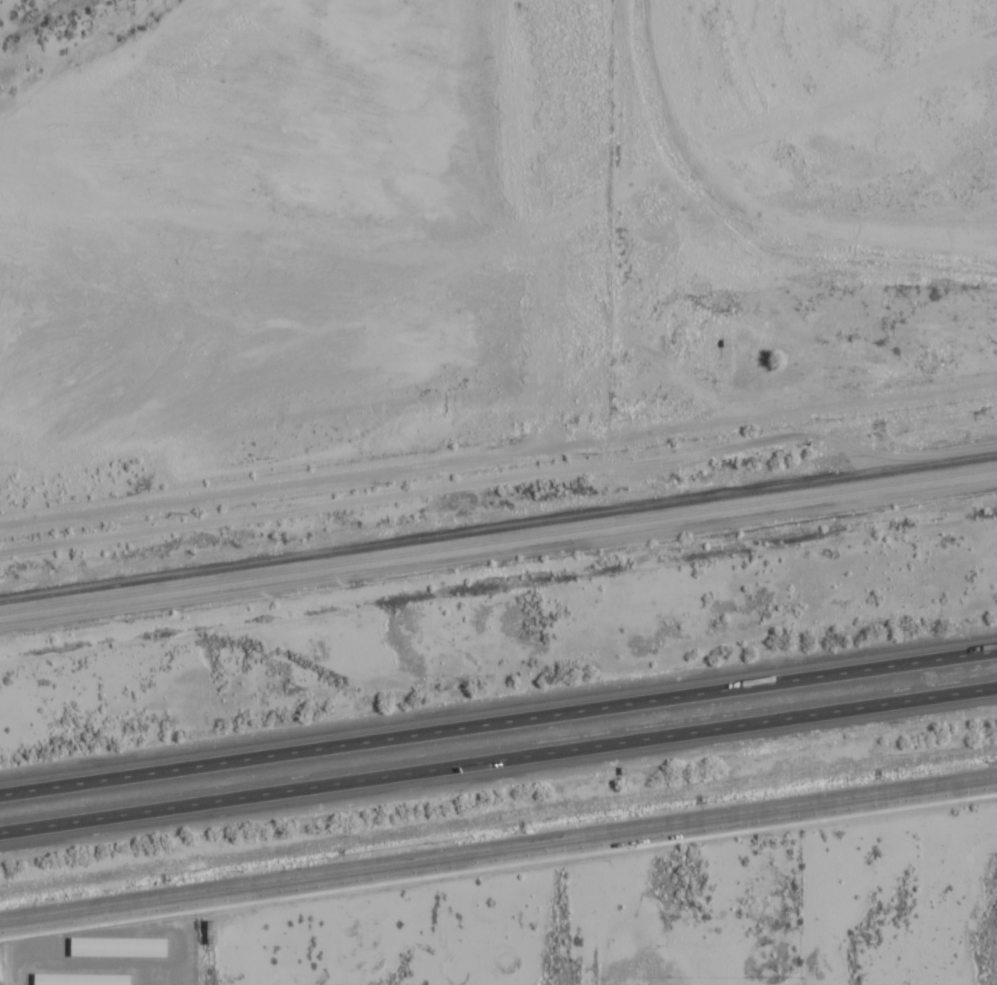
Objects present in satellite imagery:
road: (328, 408)
railway: (498, 526)
railway: (498, 540)
road: (498, 585)
road: (498, 722)
road: (498, 758)
road: (498, 851)
building: (120, 947)
building: (2, 968)
building: (83, 979)

